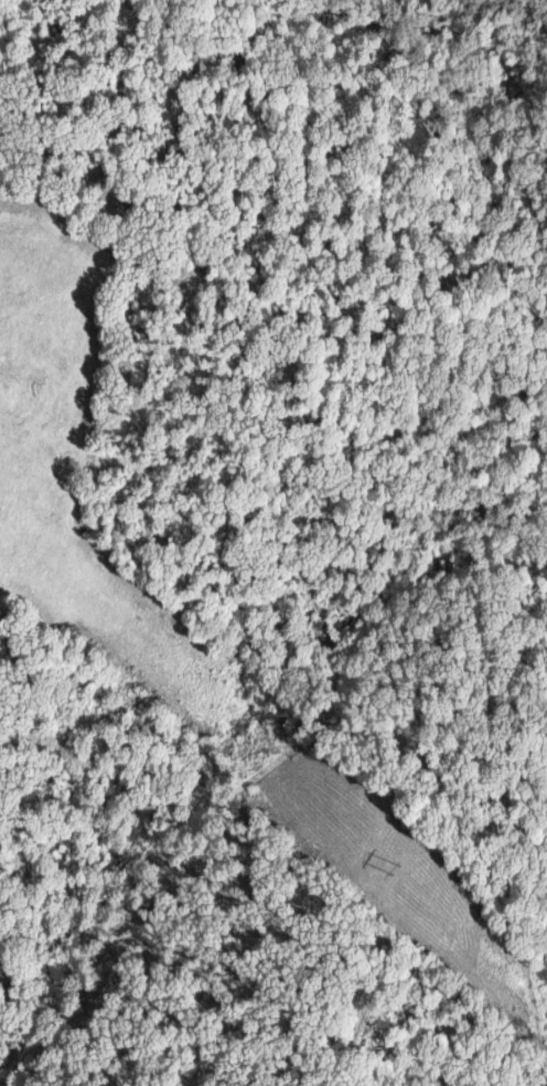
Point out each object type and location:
power tower: (401, 873)

